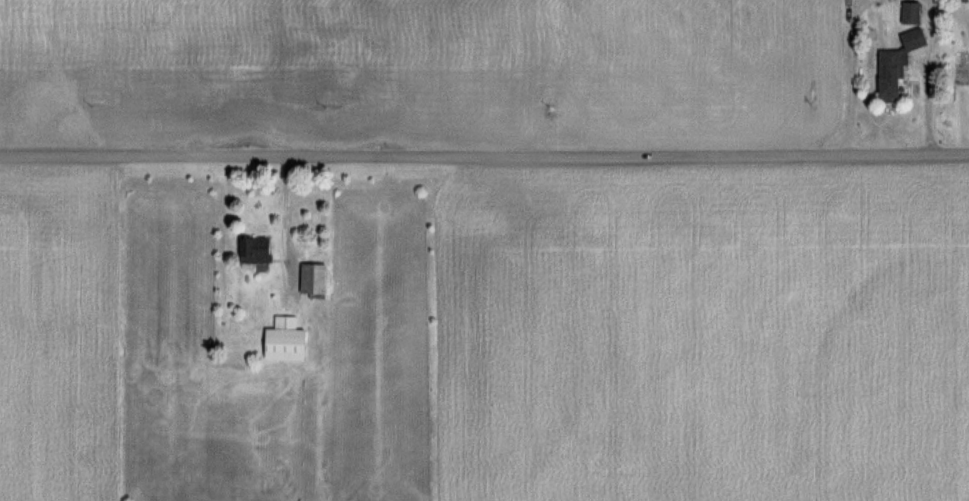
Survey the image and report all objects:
building: (909, 12)
building: (894, 63)
road: (484, 156)
building: (251, 249)
building: (310, 278)
building: (282, 339)

